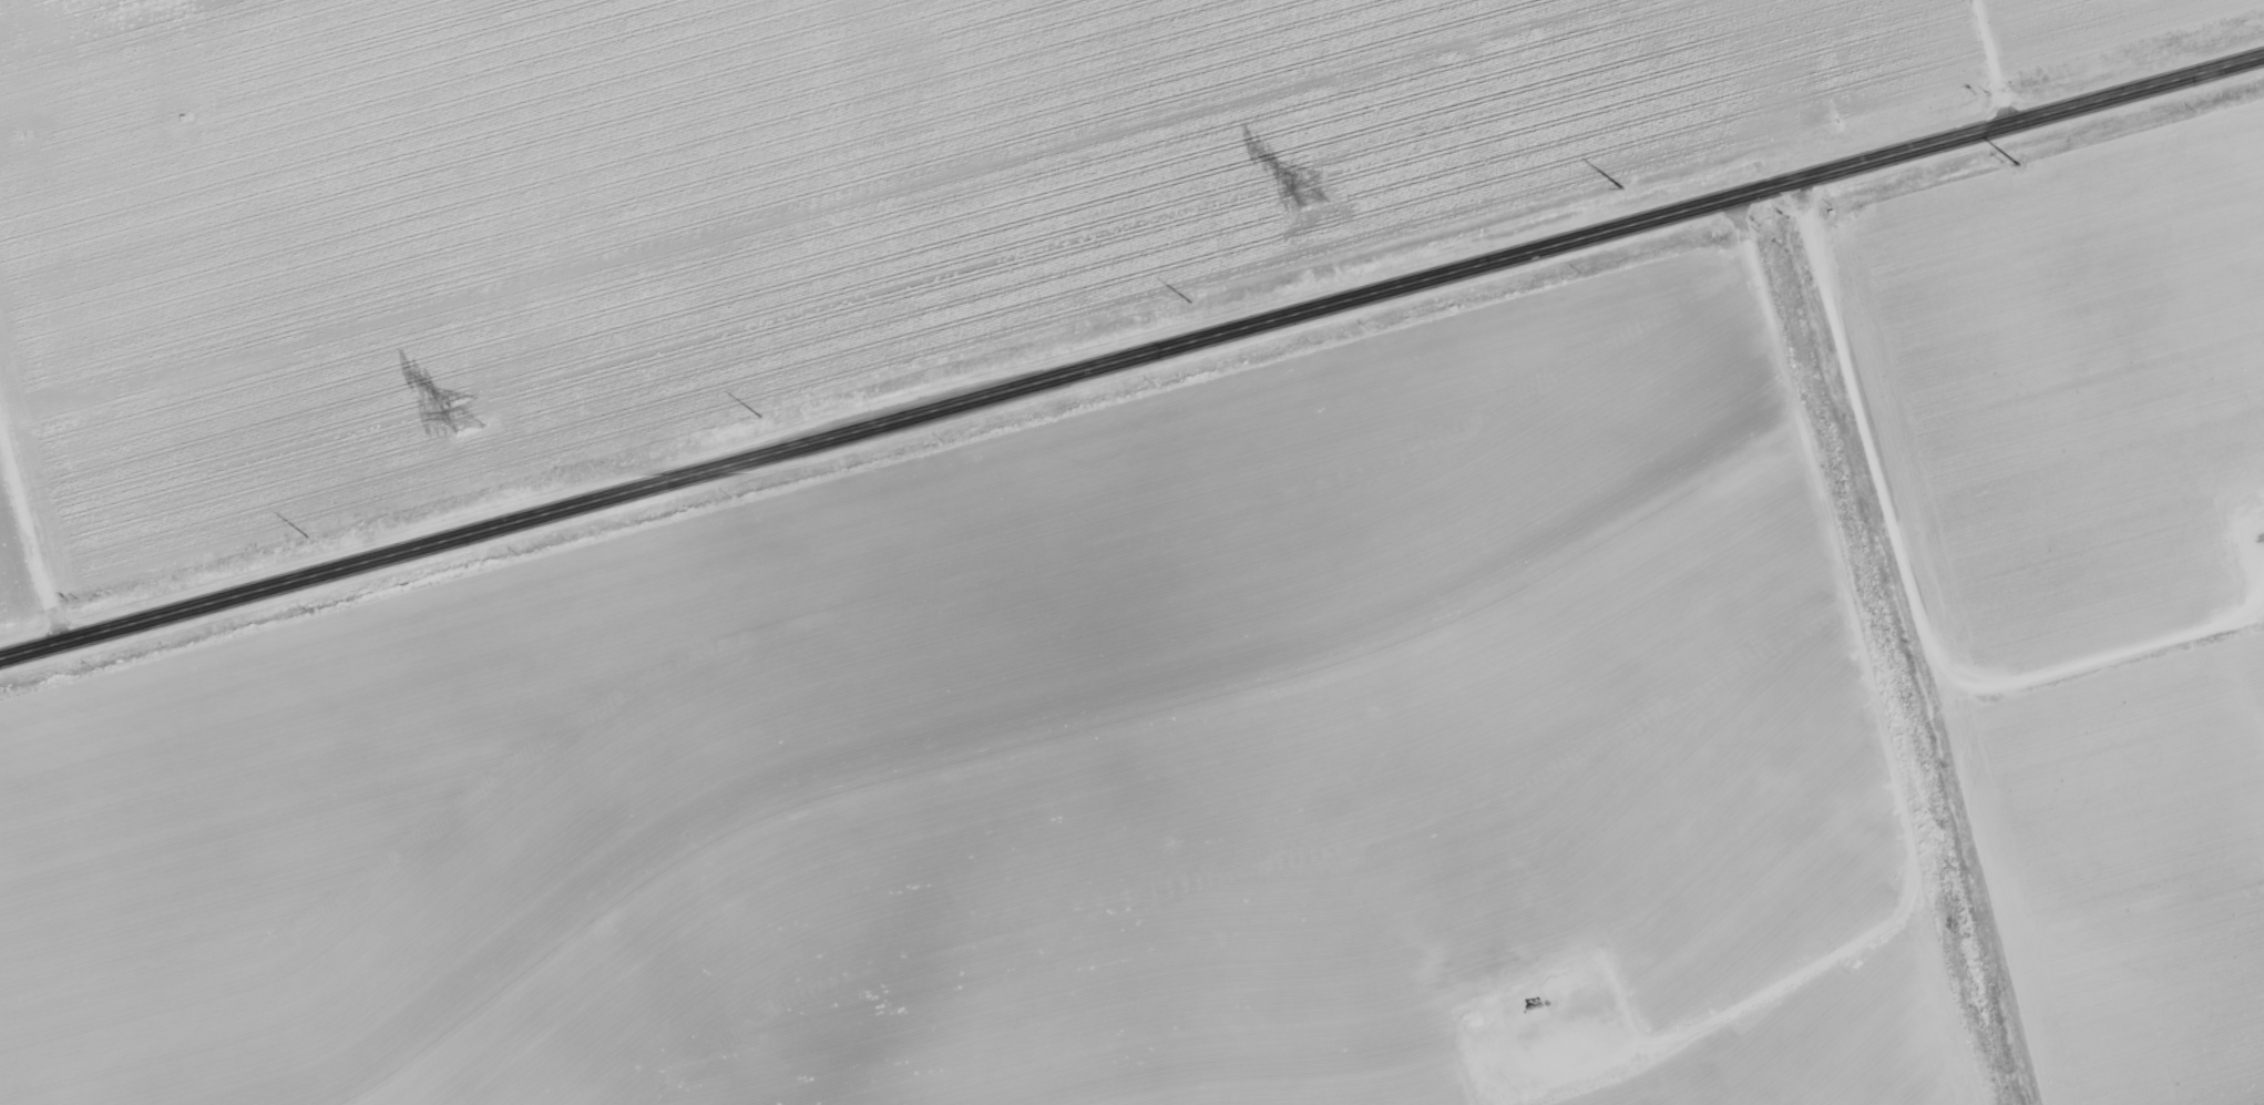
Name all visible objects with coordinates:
power tower: (2009, 166)
power tower: (1630, 181)
power tower: (1310, 190)
power tower: (1200, 299)
road: (1130, 348)
power tower: (769, 415)
power tower: (465, 416)
power tower: (316, 532)
road: (30, 540)
road: (1879, 640)
road: (69, 908)

